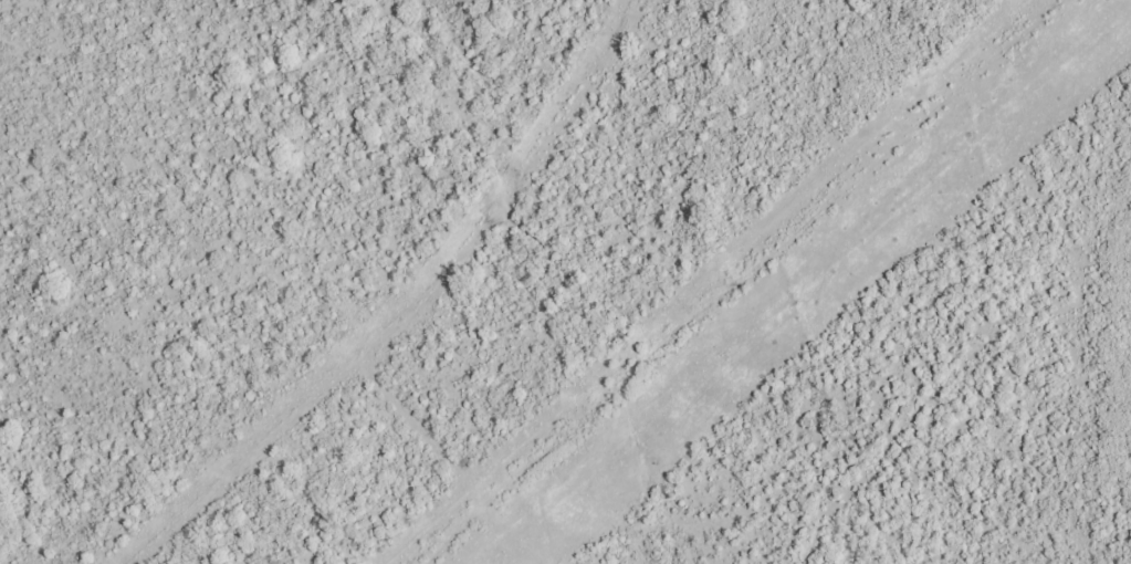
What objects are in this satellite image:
road: (938, 343)

